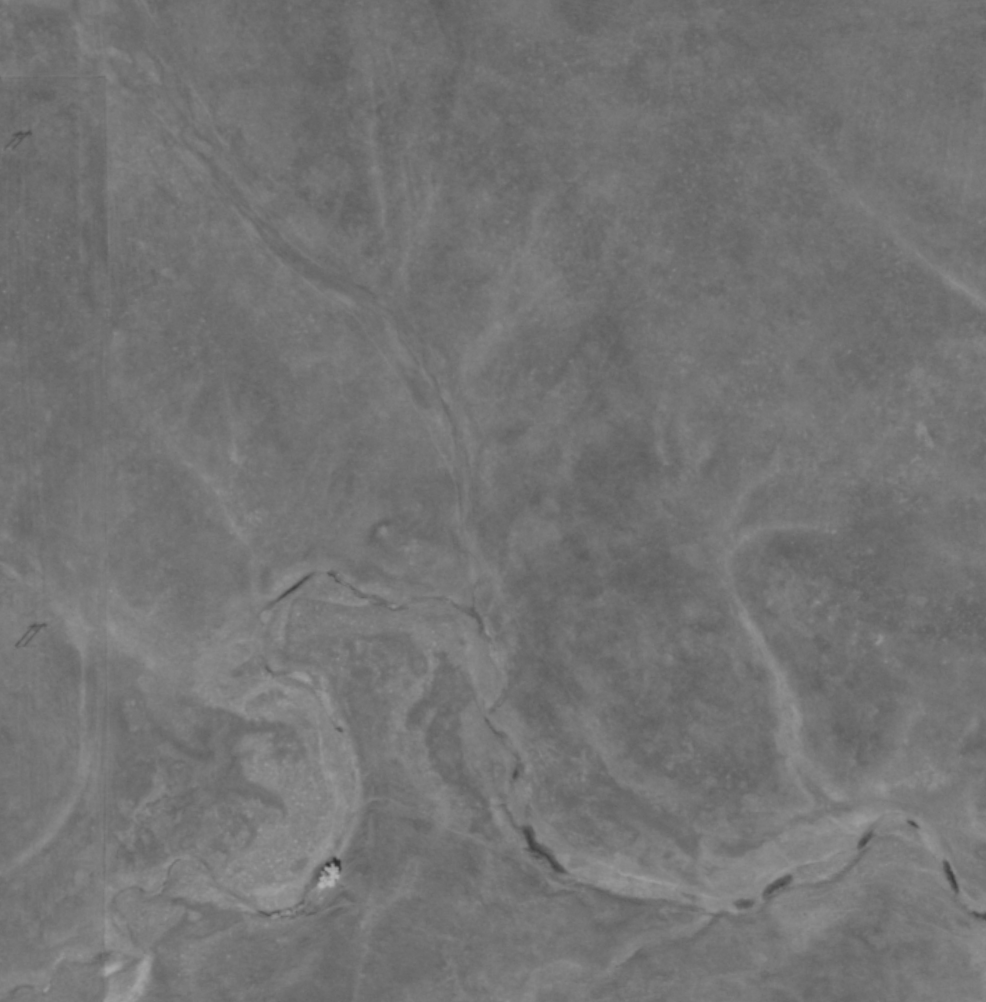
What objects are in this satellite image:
power tower: (4, 150)
power tower: (16, 646)

